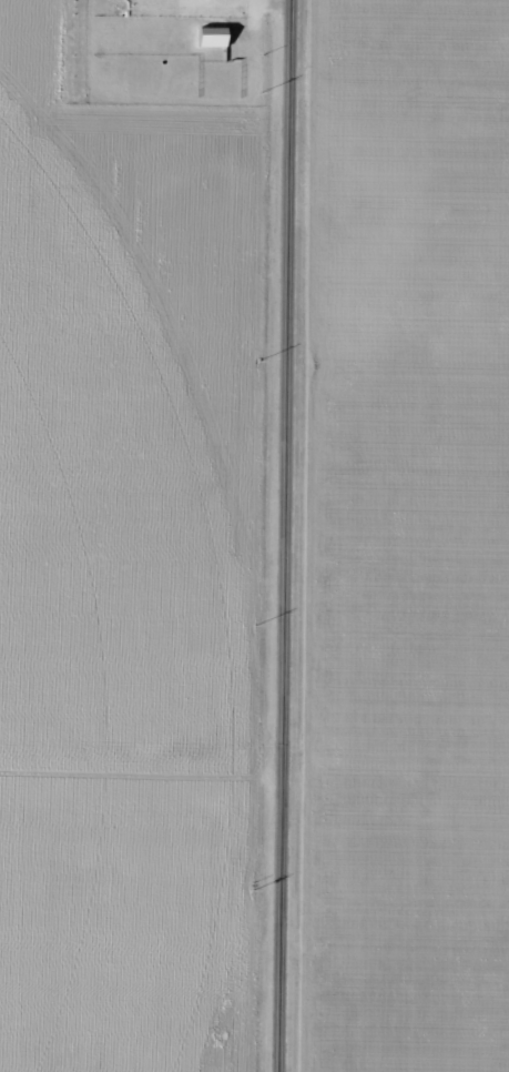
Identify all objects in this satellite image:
building: (210, 37)
road: (293, 536)
road: (144, 829)

